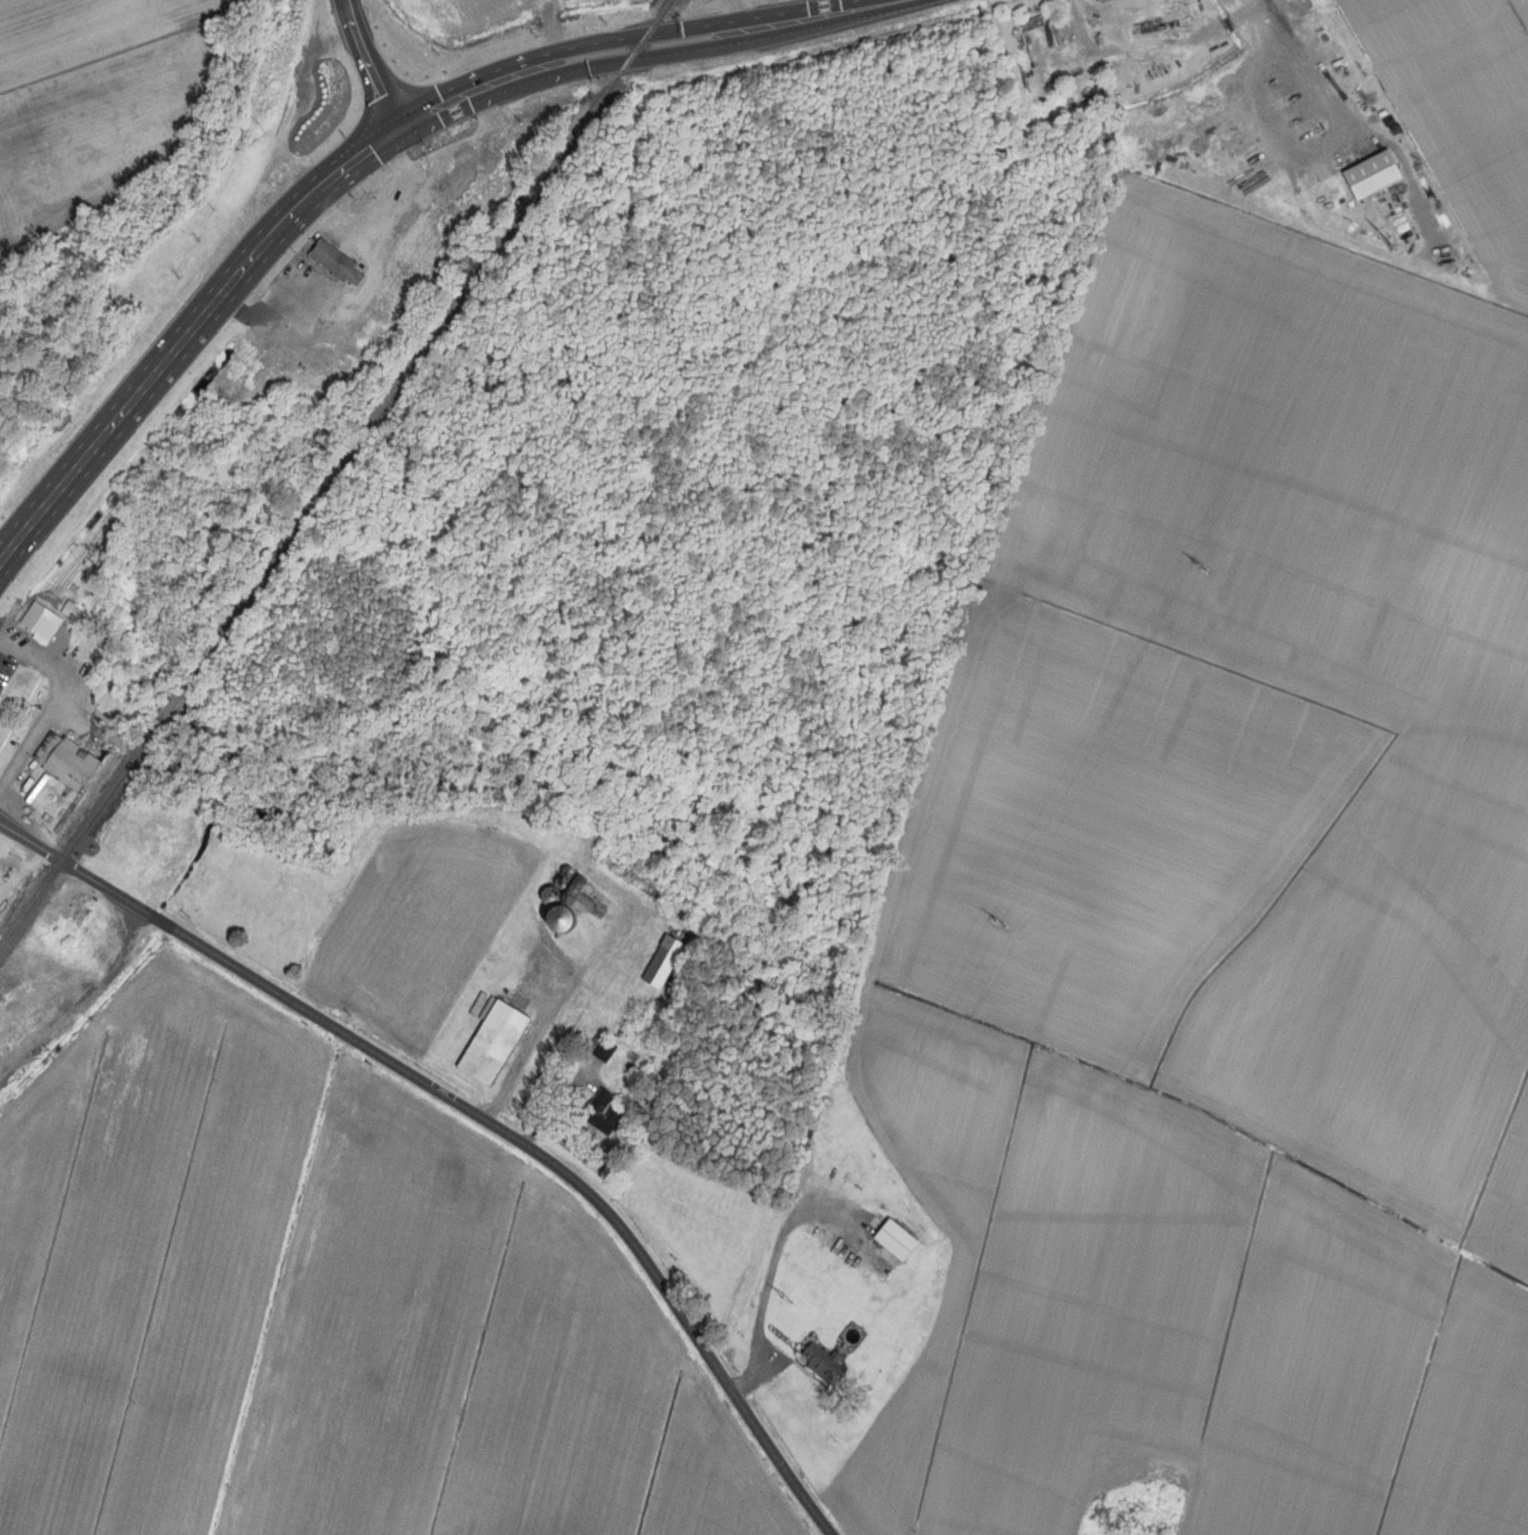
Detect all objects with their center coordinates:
road: (1250, 11)
road: (1226, 23)
road: (638, 38)
road: (1129, 49)
road: (665, 51)
road: (369, 64)
road: (409, 122)
building: (480, 155)
building: (1369, 174)
building: (422, 232)
power tower: (1383, 237)
building: (329, 258)
building: (403, 274)
road: (188, 325)
railway: (333, 473)
building: (69, 562)
power tower: (1200, 566)
building: (38, 623)
road: (3, 643)
road: (54, 705)
building: (59, 763)
building: (160, 835)
building: (633, 873)
building: (546, 895)
building: (75, 911)
building: (551, 920)
power tower: (998, 921)
building: (662, 962)
building: (490, 1042)
building: (600, 1049)
building: (600, 1112)
road: (471, 1121)
power tower: (785, 1299)
building: (820, 1363)
building: (1105, 1515)

